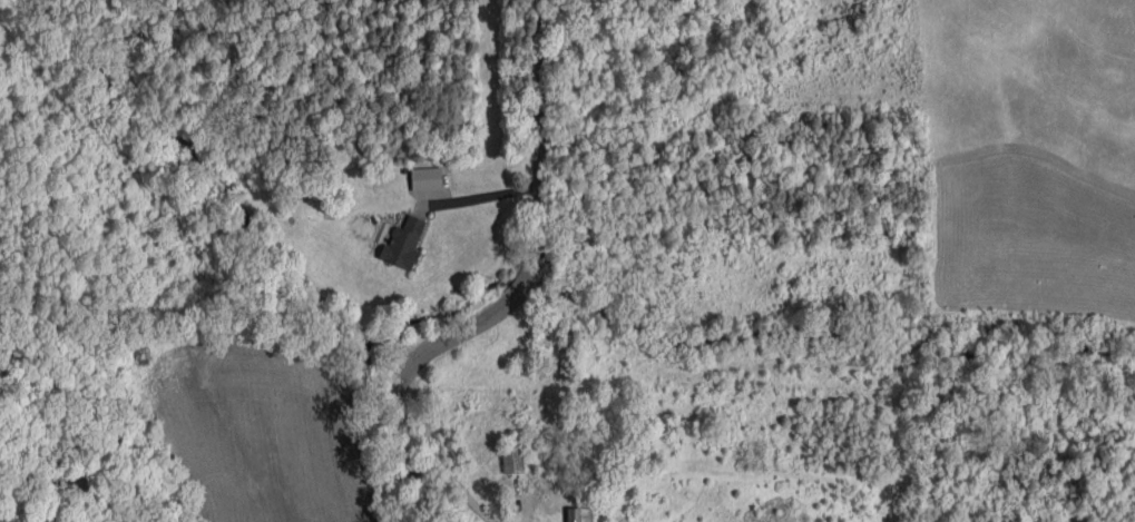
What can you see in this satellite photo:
building: (425, 177)
road: (478, 199)
building: (403, 243)
road: (517, 289)
building: (566, 365)
building: (512, 459)
road: (438, 463)
building: (579, 514)

